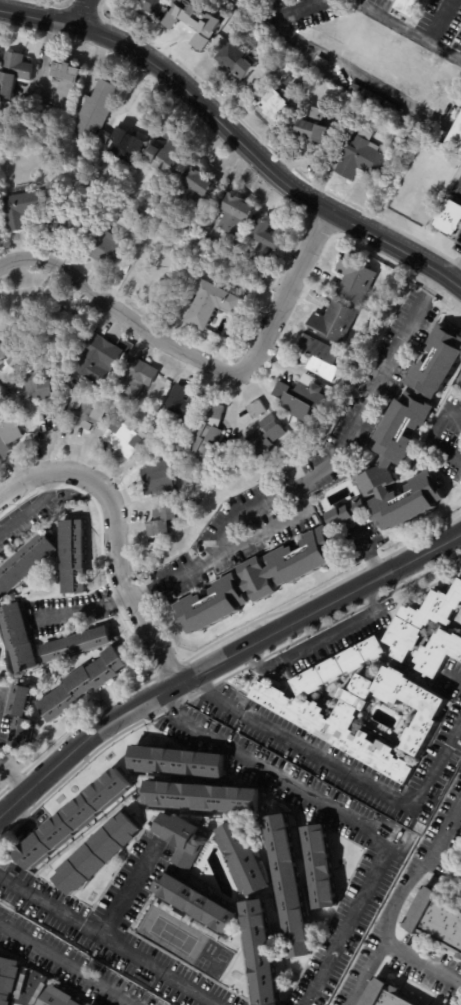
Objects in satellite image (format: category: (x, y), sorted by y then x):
building: (150, 6)
building: (412, 6)
road: (264, 10)
road: (309, 10)
road: (82, 11)
road: (38, 13)
building: (195, 19)
road: (400, 20)
road: (444, 20)
road: (447, 49)
building: (0, 51)
building: (238, 60)
building: (276, 68)
building: (15, 73)
road: (359, 77)
building: (65, 84)
building: (271, 101)
building: (98, 109)
building: (315, 127)
building: (393, 136)
building: (456, 137)
building: (107, 139)
building: (131, 144)
building: (171, 152)
building: (365, 158)
road: (262, 159)
building: (197, 190)
building: (158, 193)
building: (29, 209)
building: (238, 214)
building: (449, 217)
building: (3, 220)
building: (76, 233)
building: (274, 240)
building: (219, 245)
building: (114, 249)
road: (457, 273)
building: (185, 278)
building: (354, 278)
road: (287, 294)
building: (28, 301)
building: (220, 302)
road: (118, 309)
building: (332, 321)
building: (66, 327)
building: (8, 333)
building: (5, 355)
building: (322, 357)
building: (15, 360)
building: (100, 360)
building: (49, 376)
building: (141, 378)
building: (459, 380)
building: (0, 390)
building: (43, 391)
building: (303, 397)
building: (182, 403)
building: (257, 409)
building: (90, 411)
building: (208, 432)
road: (432, 434)
building: (267, 436)
building: (9, 438)
building: (126, 441)
building: (411, 465)
road: (321, 468)
building: (158, 478)
building: (376, 480)
road: (33, 508)
building: (161, 521)
road: (278, 524)
road: (116, 532)
road: (370, 553)
building: (73, 556)
building: (26, 563)
road: (80, 610)
building: (421, 620)
building: (16, 639)
road: (318, 639)
building: (73, 643)
building: (437, 652)
road: (219, 661)
building: (338, 667)
building: (45, 678)
building: (79, 684)
building: (16, 700)
building: (326, 724)
building: (20, 732)
building: (178, 763)
road: (340, 769)
road: (13, 778)
building: (201, 797)
building: (71, 816)
road: (346, 816)
building: (180, 837)
building: (97, 854)
building: (243, 857)
building: (319, 866)
building: (288, 885)
road: (127, 889)
building: (460, 893)
road: (399, 900)
building: (196, 903)
building: (434, 921)
park: (173, 935)
road: (107, 941)
building: (261, 953)
building: (460, 961)
road: (68, 964)
road: (423, 965)
building: (9, 978)
building: (385, 994)
building: (60, 997)
building: (92, 1004)

